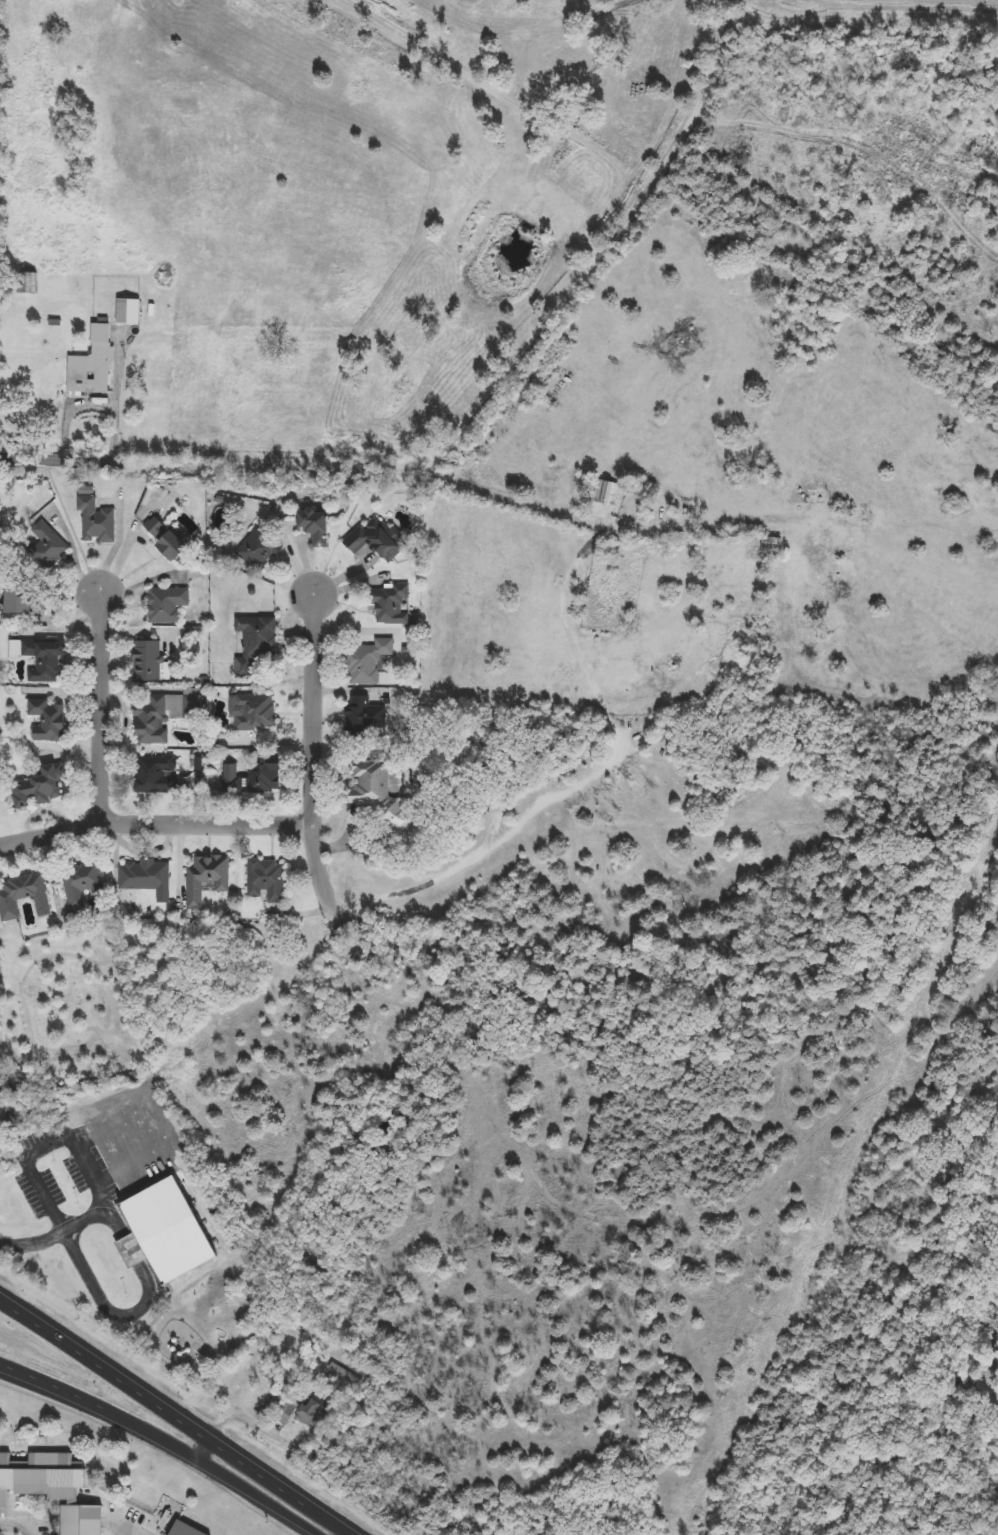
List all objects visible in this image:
park: (1, 222)
building: (93, 364)
road: (509, 369)
road: (57, 461)
building: (608, 493)
building: (97, 521)
building: (314, 527)
building: (167, 540)
building: (377, 540)
building: (47, 546)
building: (259, 550)
building: (19, 603)
building: (392, 604)
building: (167, 605)
building: (256, 644)
building: (42, 659)
building: (368, 660)
building: (148, 662)
road: (105, 709)
building: (256, 713)
building: (365, 717)
building: (151, 720)
building: (48, 721)
road: (316, 755)
building: (157, 775)
building: (265, 777)
building: (232, 779)
building: (40, 787)
building: (376, 790)
road: (158, 822)
road: (483, 849)
building: (147, 878)
building: (208, 879)
building: (266, 881)
building: (81, 884)
building: (24, 896)
road: (45, 1145)
building: (162, 1232)
road: (60, 1237)
road: (140, 1312)
road: (52, 1383)
building: (315, 1410)
road: (175, 1412)
building: (287, 1412)
road: (217, 1467)
building: (41, 1476)
building: (81, 1520)
road: (18, 1525)
building: (185, 1530)
parking lot: (26, 1531)
road: (128, 1532)

